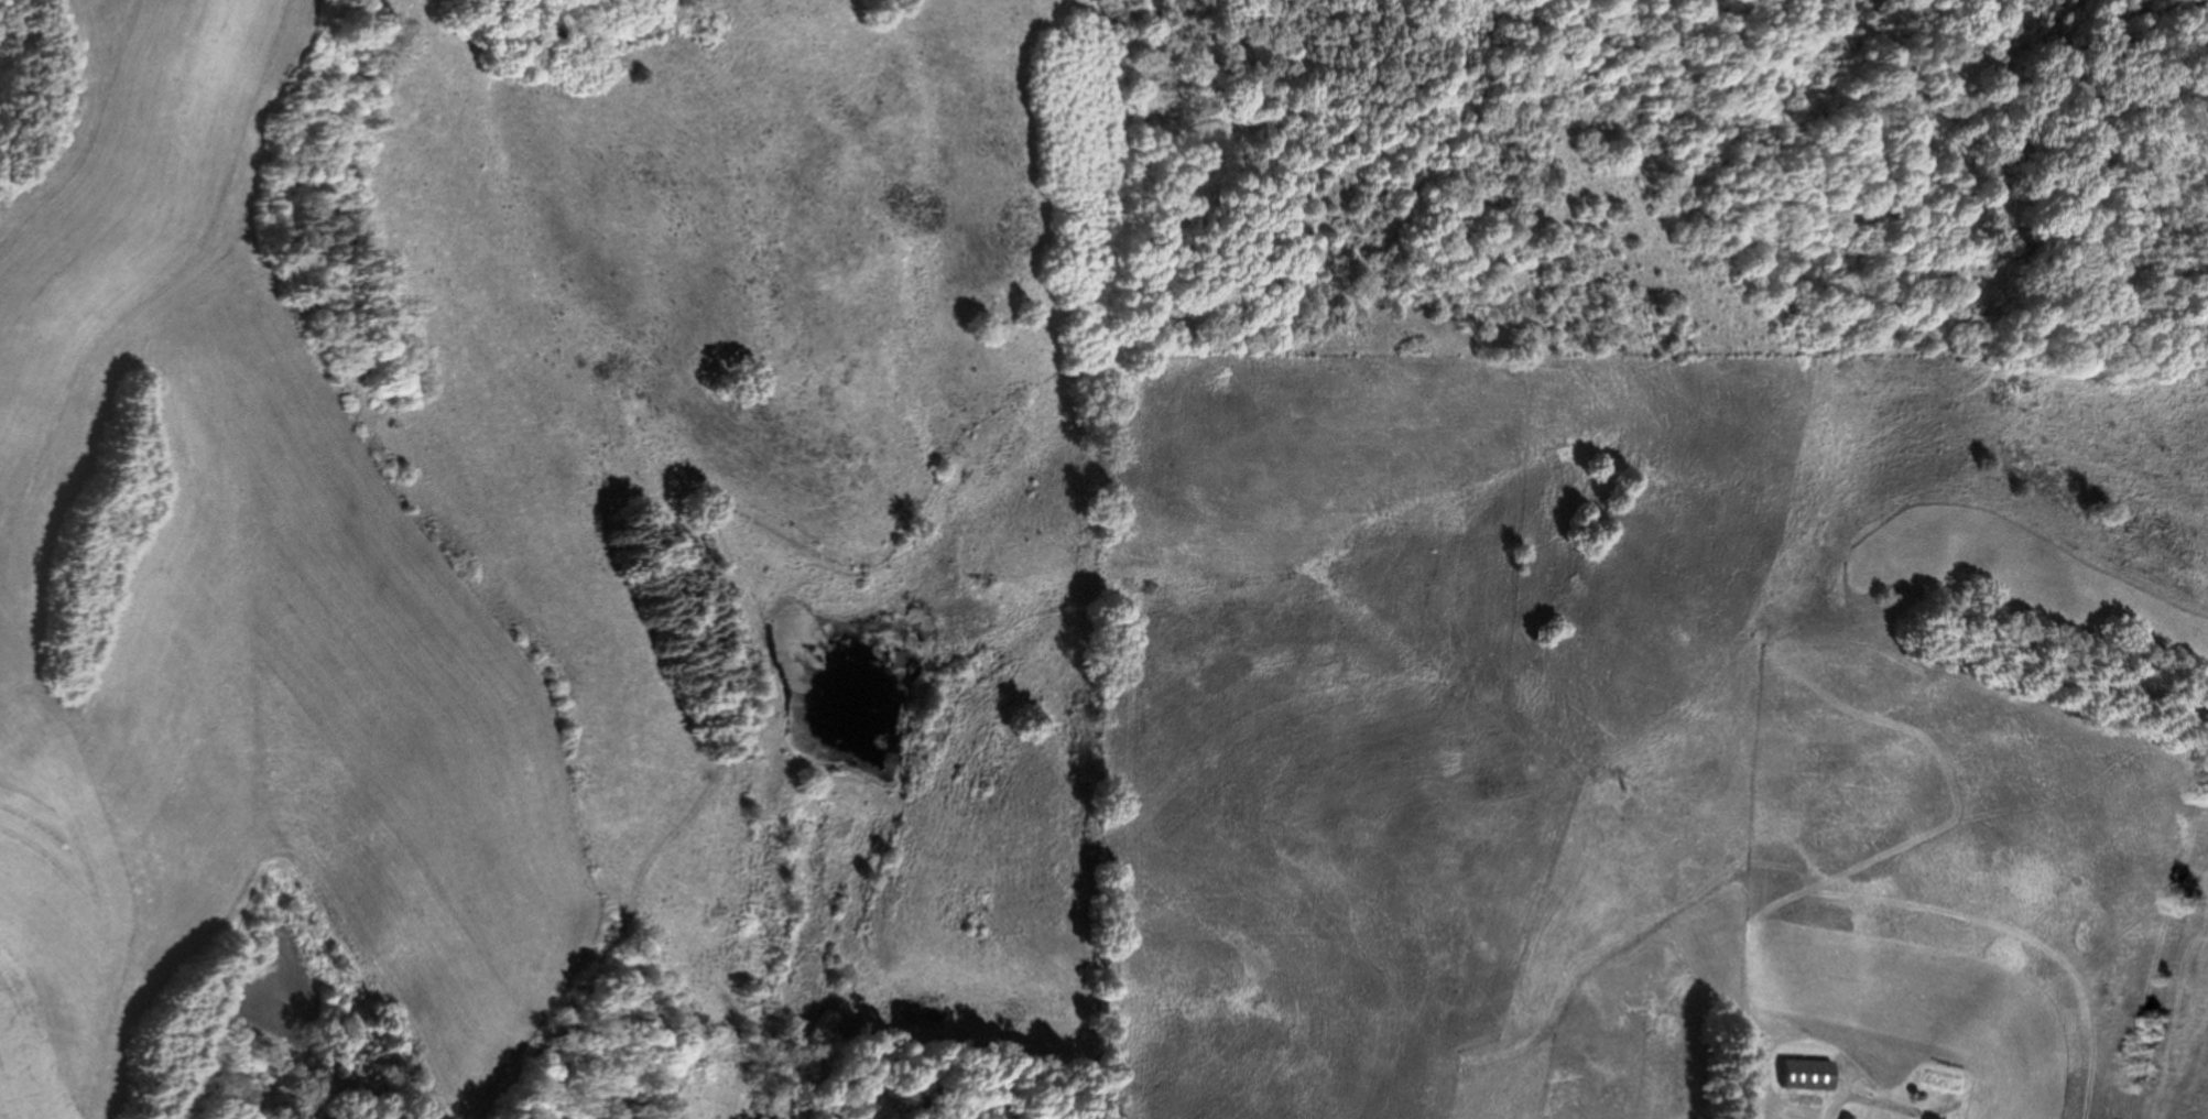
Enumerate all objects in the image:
building: (1812, 1077)

